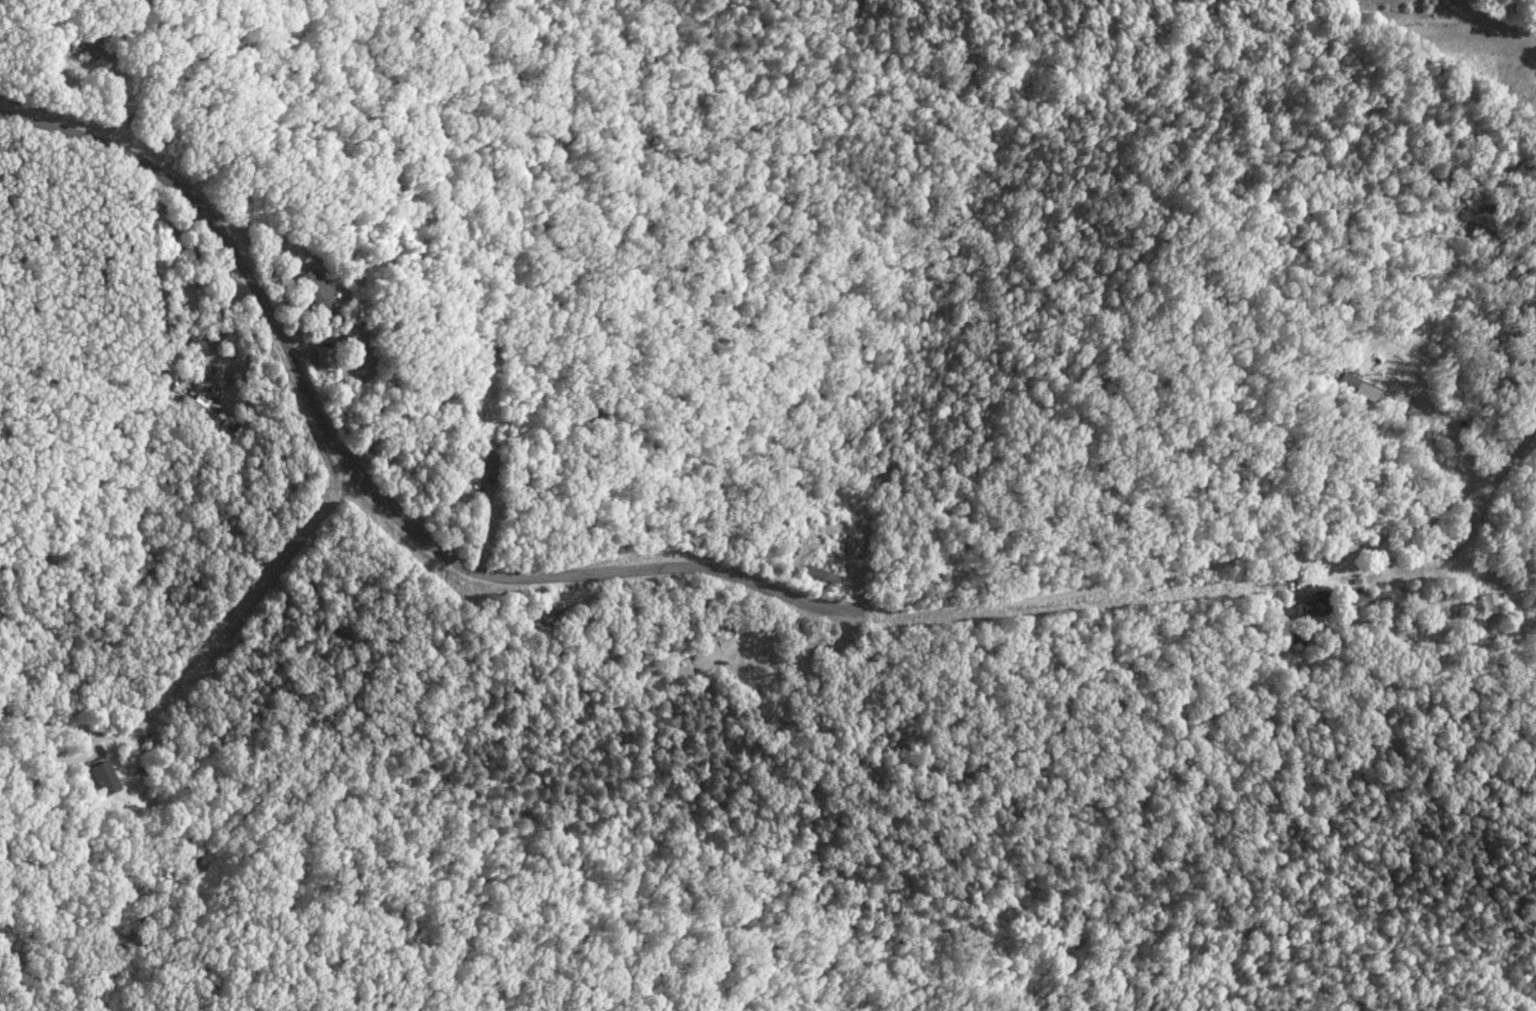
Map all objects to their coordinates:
building: (96, 51)
building: (316, 290)
building: (323, 357)
building: (1362, 386)
building: (197, 406)
road: (1444, 427)
road: (1511, 440)
road: (655, 569)
building: (1363, 596)
building: (1488, 602)
building: (678, 667)
building: (102, 777)

